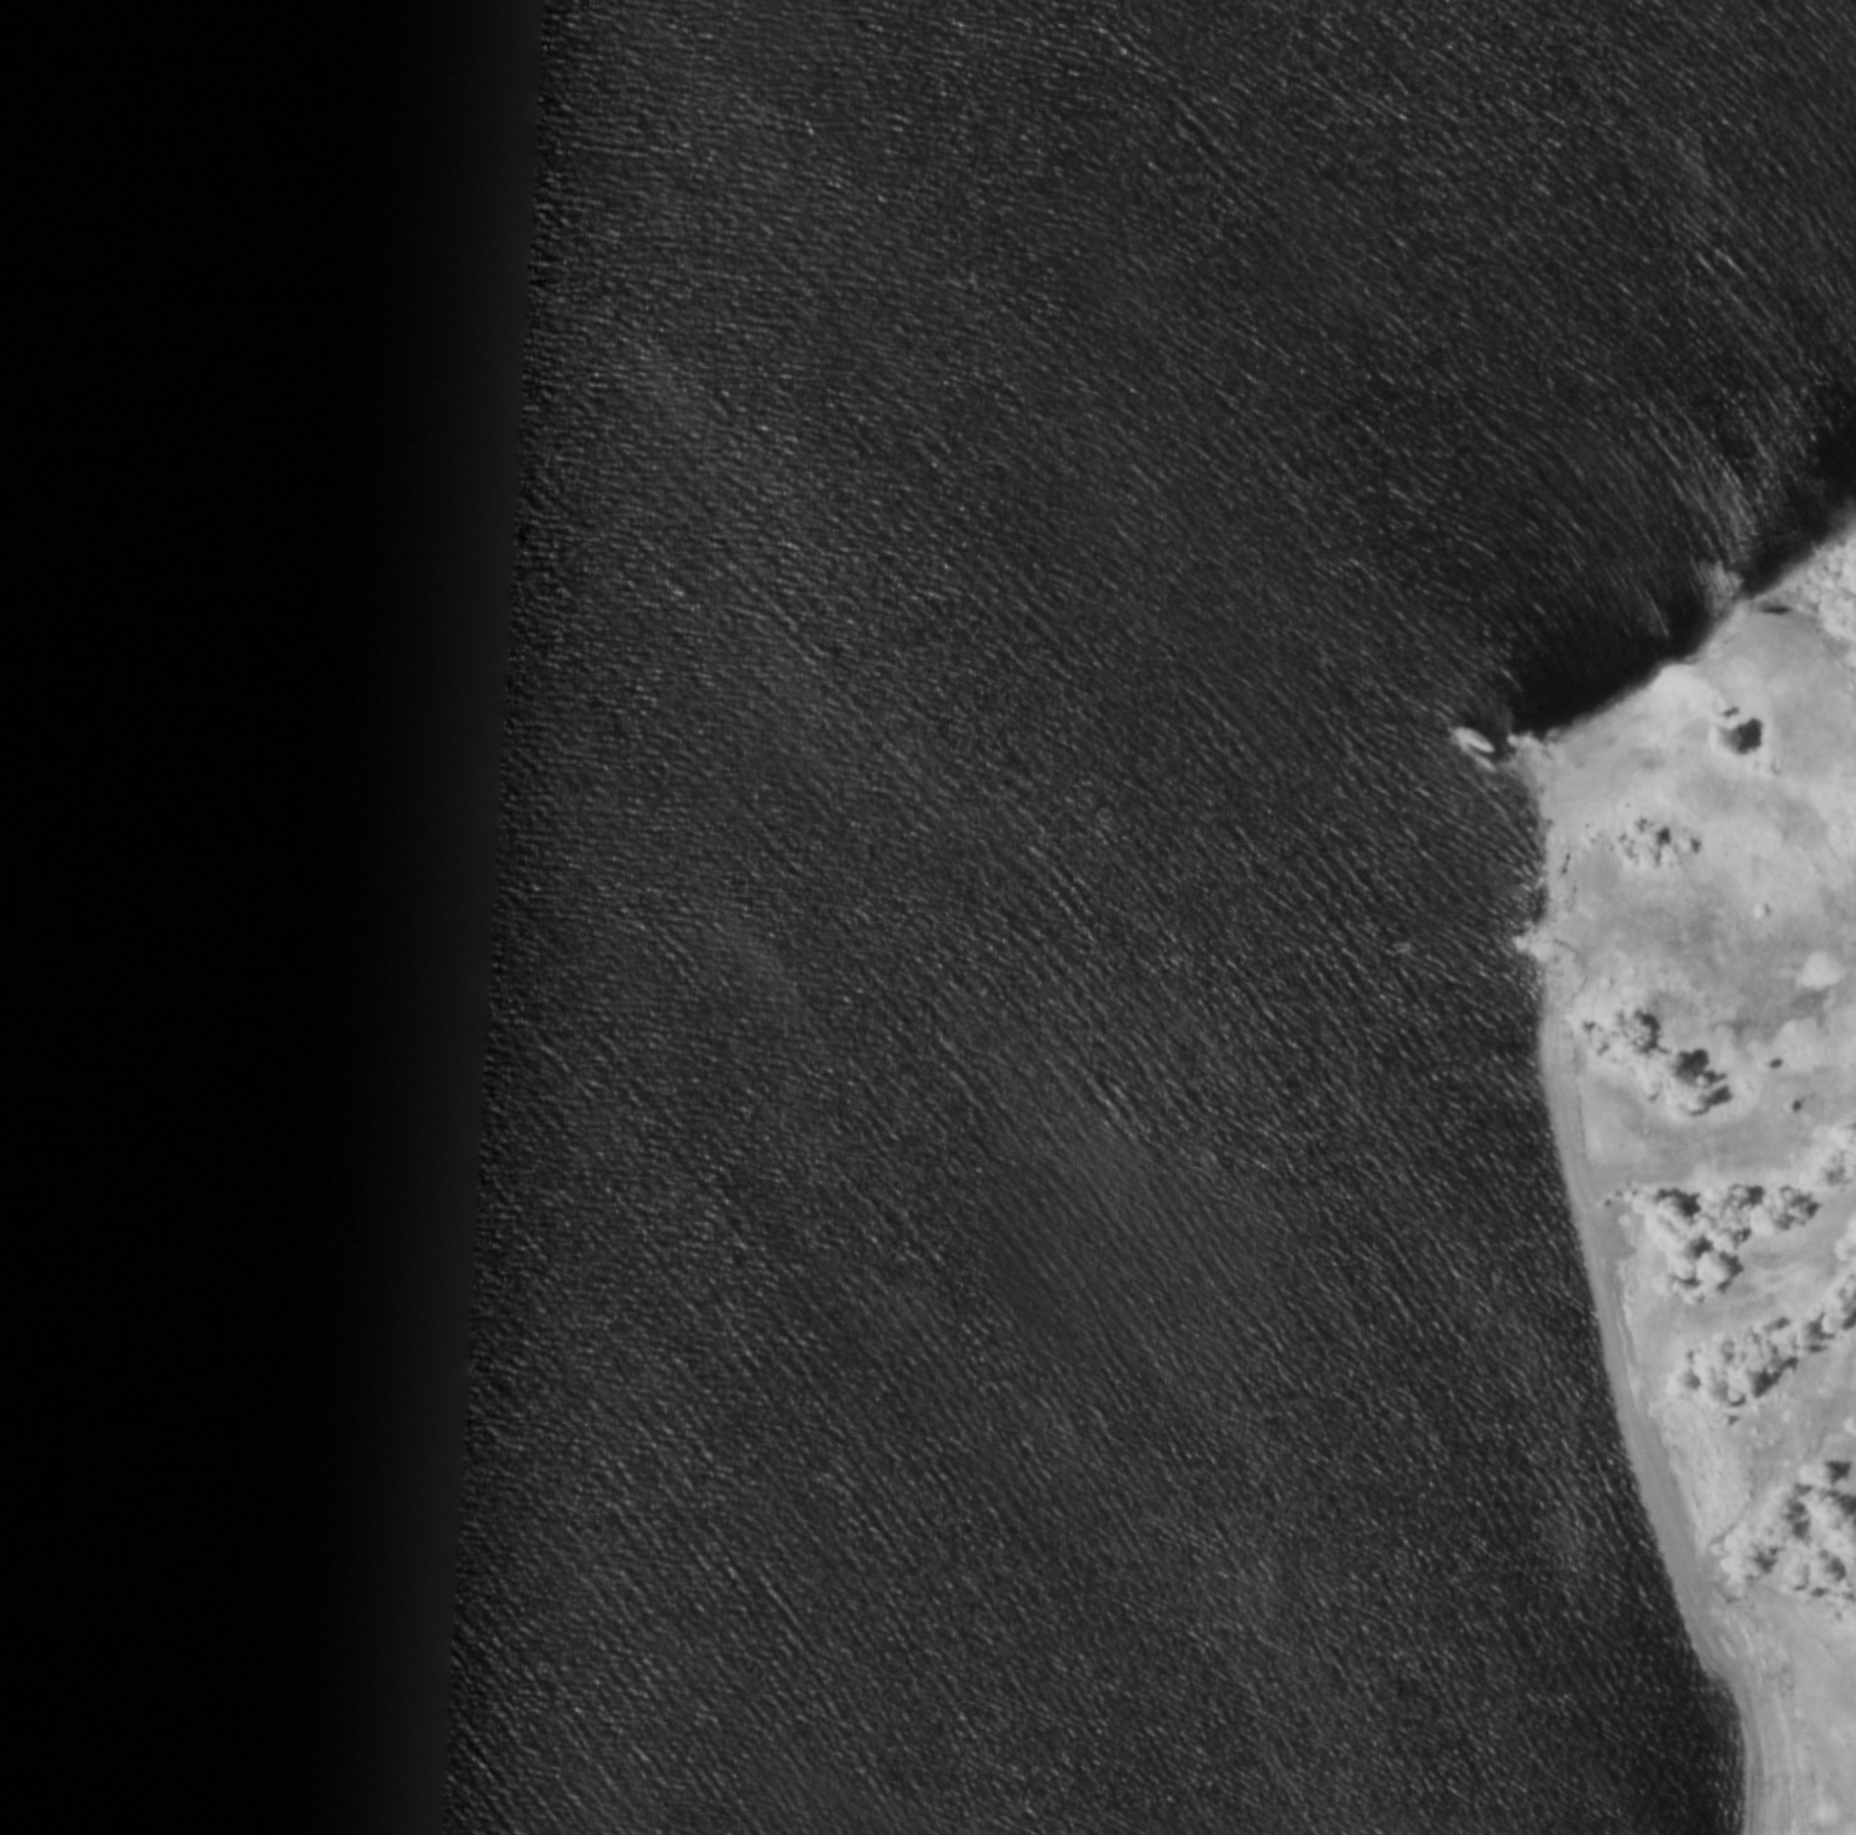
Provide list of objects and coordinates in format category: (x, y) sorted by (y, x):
river: (13, 140)

